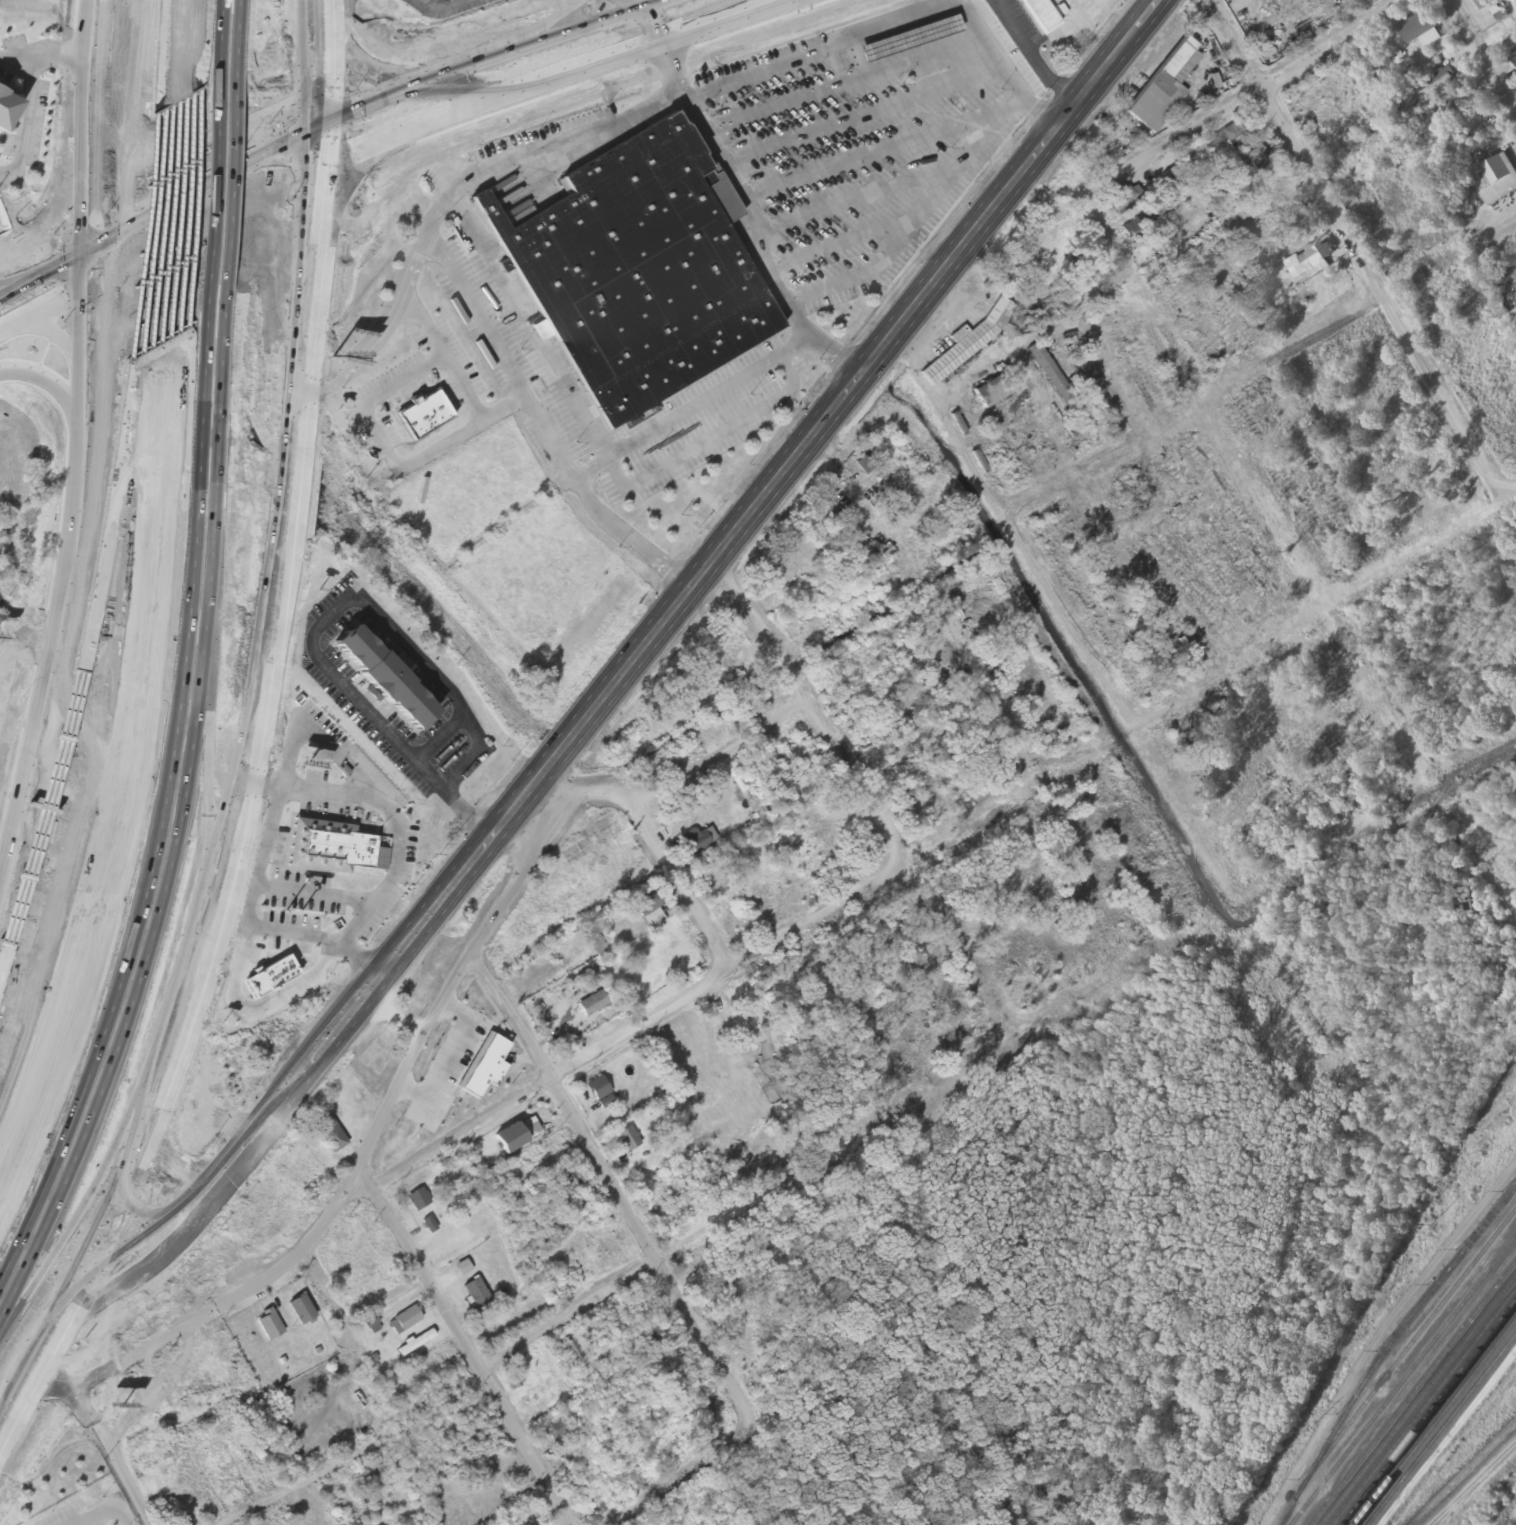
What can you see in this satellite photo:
building: (1485, 4)
road: (611, 7)
building: (1037, 12)
building: (1427, 30)
road: (1125, 36)
road: (1137, 36)
building: (1508, 36)
building: (903, 37)
gas station: (903, 37)
road: (191, 47)
road: (821, 47)
road: (173, 52)
road: (1480, 55)
road: (672, 63)
road: (551, 77)
road: (326, 81)
building: (1164, 87)
road: (684, 90)
road: (359, 105)
building: (1459, 106)
building: (13, 118)
road: (1218, 118)
traffic signals: (324, 121)
road: (83, 125)
building: (1238, 135)
road: (170, 136)
road: (535, 150)
building: (1255, 159)
traffic signals: (322, 164)
road: (955, 172)
building: (1502, 175)
road: (184, 183)
road: (344, 193)
road: (750, 199)
building: (1126, 199)
road: (55, 211)
road: (203, 225)
building: (1139, 228)
traffic signals: (81, 251)
road: (1355, 251)
road: (164, 256)
road: (155, 260)
building: (643, 262)
building: (1309, 262)
road: (40, 274)
road: (191, 274)
road: (19, 280)
road: (179, 281)
traffic signals: (84, 286)
road: (42, 308)
road: (178, 312)
building: (1514, 316)
road: (800, 318)
road: (52, 332)
building: (968, 342)
road: (835, 354)
road: (507, 363)
road: (328, 366)
road: (44, 377)
building: (1054, 380)
road: (326, 391)
building: (991, 392)
road: (1218, 401)
road: (692, 405)
road: (503, 407)
building: (425, 412)
road: (126, 434)
road: (707, 440)
road: (429, 450)
road: (63, 543)
road: (1415, 559)
road: (287, 585)
road: (2, 602)
road: (675, 609)
building: (402, 691)
road: (819, 702)
road: (1375, 726)
road: (63, 744)
road: (118, 758)
road: (134, 778)
road: (687, 785)
building: (10, 803)
building: (677, 813)
road: (36, 817)
building: (695, 842)
building: (335, 845)
road: (4, 849)
road: (684, 885)
road: (326, 894)
building: (648, 905)
road: (356, 938)
building: (592, 1005)
road: (633, 1028)
building: (598, 1089)
building: (189, 1117)
building: (330, 1135)
building: (628, 1140)
road: (373, 1146)
road: (193, 1170)
road: (126, 1190)
road: (618, 1191)
building: (419, 1200)
power tower: (1431, 1232)
road: (168, 1249)
building: (477, 1296)
building: (301, 1311)
road: (575, 1318)
building: (404, 1322)
building: (269, 1326)
railway: (1413, 1343)
building: (417, 1344)
railway: (1388, 1348)
building: (574, 1351)
road: (477, 1354)
building: (516, 1377)
railway: (1404, 1381)
railway: (1414, 1394)
road: (19, 1413)
building: (559, 1430)
power tower: (1307, 1435)
road: (105, 1443)
railway: (1466, 1475)
road: (694, 1478)
road: (1472, 1483)
road: (304, 1486)
building: (228, 1490)
building: (54, 1513)
building: (75, 1522)

